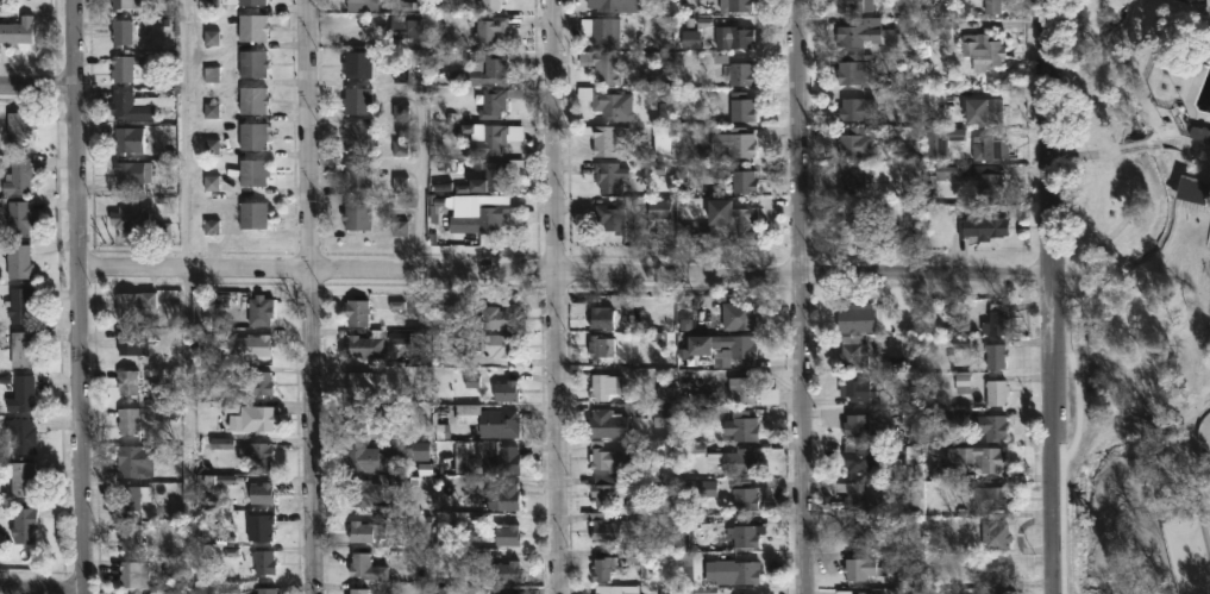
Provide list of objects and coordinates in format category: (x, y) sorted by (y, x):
building: (251, 1)
building: (120, 4)
building: (488, 4)
building: (361, 5)
building: (615, 5)
building: (853, 5)
building: (735, 6)
building: (992, 6)
building: (405, 26)
building: (251, 27)
building: (488, 29)
building: (17, 30)
building: (120, 31)
building: (604, 32)
building: (727, 32)
building: (867, 33)
building: (984, 51)
building: (252, 63)
building: (356, 64)
building: (602, 65)
building: (123, 67)
building: (494, 67)
building: (854, 69)
building: (739, 73)
road: (38, 83)
building: (252, 100)
building: (357, 100)
building: (495, 101)
building: (607, 101)
building: (138, 105)
building: (741, 106)
building: (855, 110)
building: (993, 110)
building: (17, 131)
building: (1200, 132)
road: (180, 133)
road: (424, 133)
building: (251, 135)
building: (358, 136)
building: (493, 138)
building: (607, 138)
building: (127, 139)
building: (940, 140)
building: (739, 142)
building: (857, 142)
building: (664, 143)
road: (1139, 144)
road: (1196, 146)
building: (985, 148)
road: (1083, 151)
building: (134, 171)
building: (255, 171)
building: (358, 171)
building: (609, 175)
building: (854, 175)
building: (17, 176)
building: (490, 177)
building: (744, 181)
building: (989, 186)
building: (1193, 189)
building: (662, 210)
building: (253, 214)
building: (356, 215)
building: (132, 217)
building: (609, 218)
building: (18, 219)
building: (481, 219)
building: (852, 221)
road: (1117, 224)
building: (731, 225)
building: (982, 229)
building: (17, 262)
road: (564, 268)
park: (1137, 295)
road: (79, 296)
road: (312, 296)
road: (556, 296)
road: (803, 296)
road: (1051, 296)
building: (18, 305)
building: (131, 305)
building: (259, 309)
building: (356, 312)
building: (738, 315)
building: (600, 317)
building: (857, 317)
building: (496, 318)
building: (995, 321)
building: (131, 342)
building: (251, 345)
building: (363, 345)
building: (497, 345)
building: (735, 345)
building: (600, 346)
building: (20, 349)
building: (852, 351)
building: (995, 355)
building: (361, 381)
building: (127, 382)
building: (252, 386)
building: (601, 388)
building: (504, 389)
building: (742, 390)
building: (857, 390)
building: (19, 393)
building: (997, 393)
building: (664, 415)
building: (126, 420)
building: (252, 420)
road: (1143, 421)
building: (497, 423)
building: (607, 425)
building: (855, 425)
building: (992, 425)
building: (742, 426)
road: (1174, 427)
road: (1191, 433)
building: (21, 434)
building: (381, 452)
building: (258, 454)
building: (496, 454)
building: (857, 456)
building: (978, 456)
building: (606, 457)
building: (734, 461)
building: (134, 462)
building: (19, 475)
building: (709, 489)
road: (1079, 489)
building: (362, 490)
building: (603, 492)
building: (258, 493)
building: (507, 495)
building: (745, 495)
building: (864, 495)
building: (128, 498)
building: (991, 498)
road: (1197, 509)
park: (1209, 520)
building: (21, 523)
building: (259, 524)
building: (364, 529)
building: (499, 530)
building: (604, 530)
building: (859, 531)
building: (996, 533)
building: (130, 534)
building: (744, 536)
park: (1193, 555)
building: (262, 561)
building: (365, 565)
building: (859, 567)
building: (604, 570)
building: (731, 570)
building: (507, 571)
building: (134, 573)
building: (980, 575)
road: (40, 588)
building: (264, 589)
building: (357, 589)
building: (614, 589)
building: (451, 590)
building: (671, 590)
building: (861, 592)

